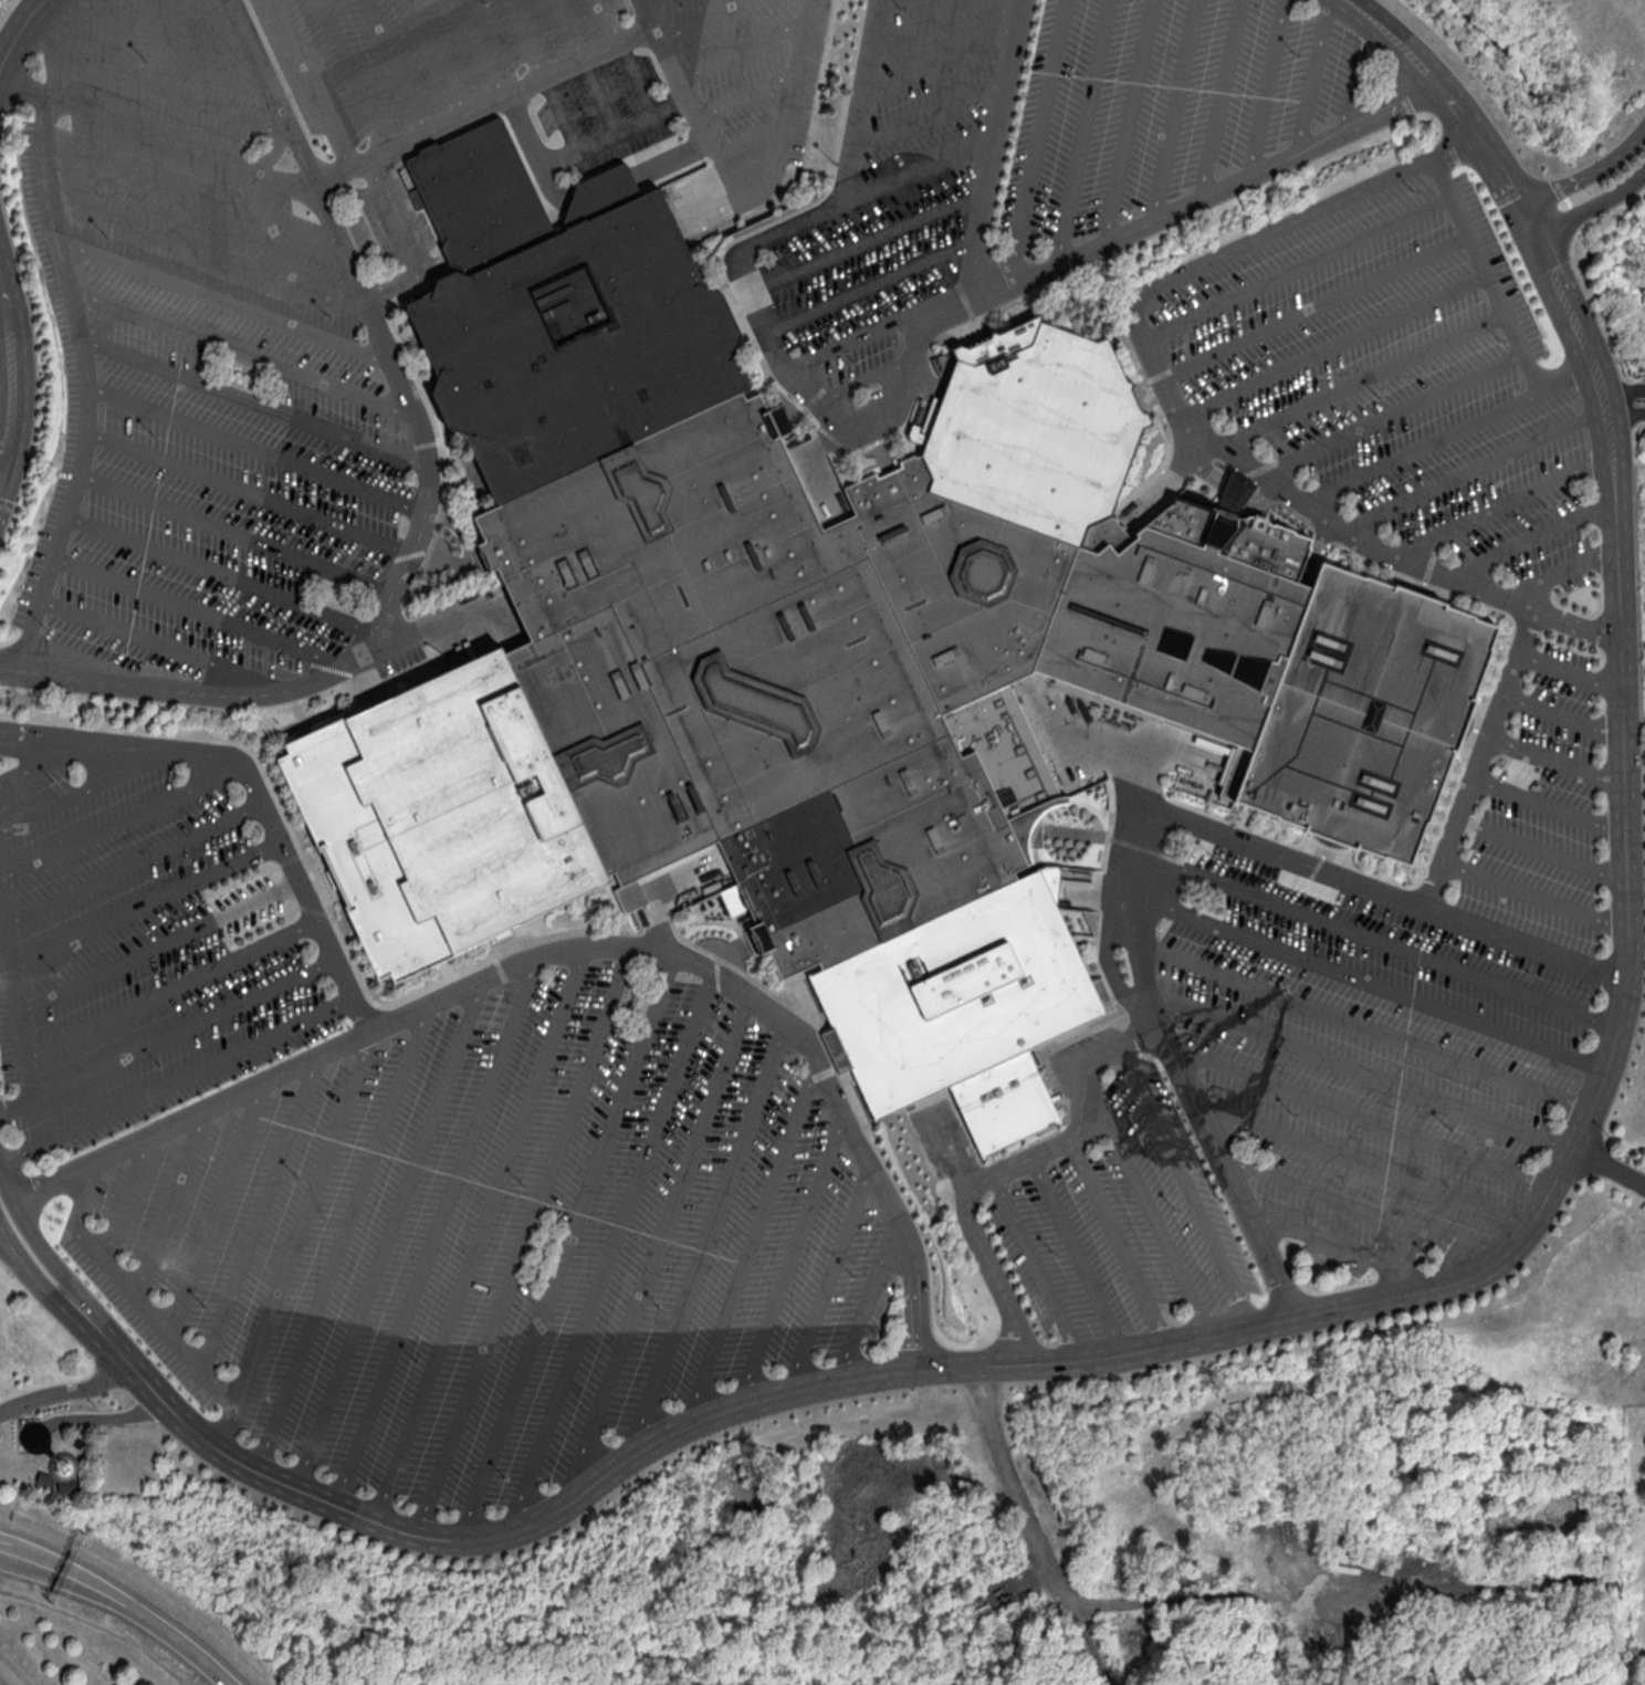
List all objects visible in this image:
road: (209, 14)
road: (703, 19)
road: (915, 20)
road: (18, 33)
road: (160, 41)
road: (484, 48)
road: (745, 49)
road: (942, 54)
road: (441, 56)
road: (629, 57)
road: (398, 65)
road: (589, 66)
road: (1355, 71)
road: (353, 75)
road: (542, 76)
road: (1312, 76)
road: (794, 79)
road: (314, 83)
road: (158, 86)
road: (1264, 87)
road: (747, 92)
road: (1219, 98)
road: (486, 104)
road: (931, 109)
road: (1173, 109)
road: (698, 112)
road: (1129, 121)
road: (636, 126)
road: (1080, 134)
road: (161, 137)
road: (1037, 144)
parking lot: (1037, 150)
road: (992, 153)
road: (918, 167)
road: (1592, 170)
road: (192, 193)
road: (1596, 203)
road: (866, 240)
road: (206, 245)
road: (1296, 266)
road: (1485, 272)
road: (870, 283)
parking lot: (298, 284)
road: (224, 301)
road: (1313, 305)
road: (879, 326)
road: (1332, 344)
road: (243, 354)
road: (907, 370)
road: (1565, 374)
road: (6, 375)
parking lot: (1394, 378)
road: (3, 379)
road: (866, 379)
road: (1361, 379)
road: (87, 385)
road: (1623, 391)
road: (255, 401)
road: (1172, 406)
road: (1389, 410)
road: (1624, 415)
road: (1421, 446)
road: (256, 448)
road: (1474, 468)
road: (250, 491)
building: (1234, 493)
road: (426, 498)
road: (1499, 504)
road: (235, 534)
road: (1530, 538)
road: (1561, 571)
road: (219, 572)
road: (200, 608)
road: (163, 642)
building: (829, 652)
road: (1568, 668)
road: (1561, 713)
road: (1478, 757)
road: (38, 762)
road: (1554, 762)
road: (254, 786)
road: (86, 789)
road: (1549, 805)
road: (122, 820)
road: (1626, 833)
road: (1542, 849)
road: (1278, 852)
road: (134, 862)
road: (1534, 894)
road: (145, 901)
road: (1376, 936)
parking lot: (143, 943)
road: (158, 944)
road: (573, 946)
road: (1369, 980)
road: (170, 985)
road: (17, 1006)
road: (1363, 1023)
road: (182, 1028)
road: (1140, 1034)
parking lot: (1335, 1060)
road: (1359, 1071)
road: (178, 1077)
road: (1364, 1117)
road: (1366, 1162)
road: (1609, 1170)
road: (987, 1176)
road: (1234, 1182)
road: (1187, 1185)
road: (86, 1193)
road: (125, 1197)
road: (167, 1203)
road: (1150, 1205)
road: (218, 1207)
road: (1363, 1208)
road: (259, 1213)
road: (303, 1218)
road: (436, 1229)
road: (389, 1233)
road: (481, 1233)
road: (344, 1237)
parking lot: (497, 1238)
road: (708, 1239)
road: (524, 1241)
road: (1119, 1241)
road: (754, 1242)
road: (1335, 1244)
road: (567, 1245)
road: (10, 1250)
road: (612, 1250)
road: (654, 1250)
road: (43, 1252)
road: (1080, 1254)
road: (789, 1258)
road: (1038, 1265)
road: (830, 1279)
road: (40, 1283)
road: (870, 1301)
road: (168, 1333)
road: (66, 1391)
road: (94, 1417)
water tower: (63, 1466)
road: (558, 1508)
road: (1034, 1529)
road: (2, 1549)
road: (65, 1573)
road: (1258, 1593)
road: (179, 1641)

